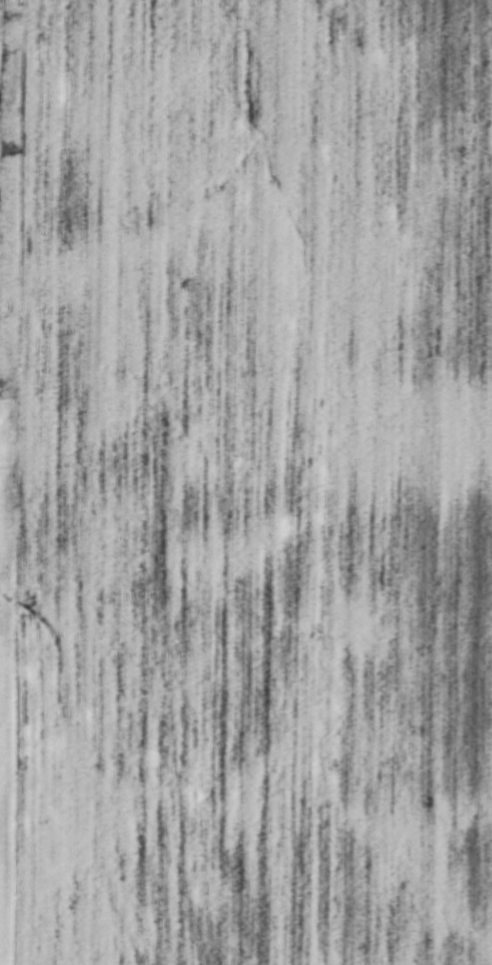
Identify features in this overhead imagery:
crop: (246, 482)

